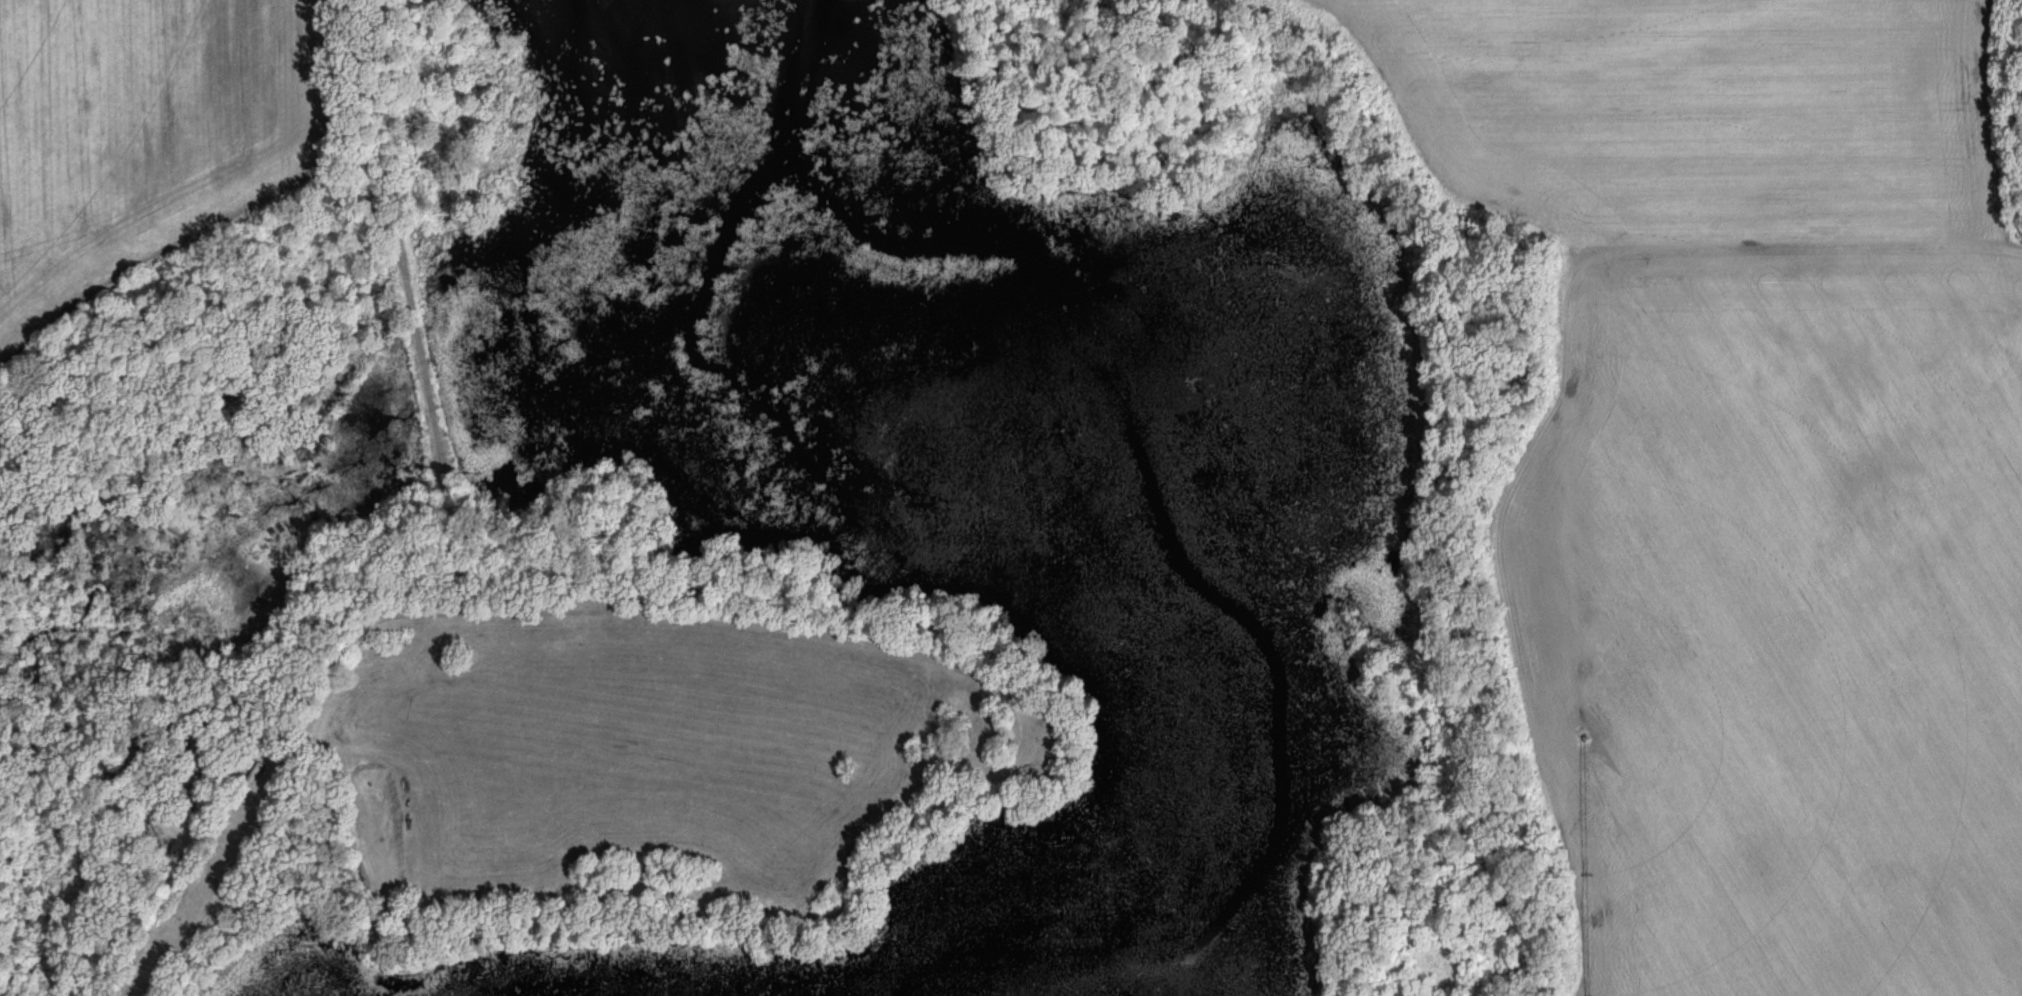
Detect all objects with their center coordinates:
building: (246, 778)
road: (200, 923)

